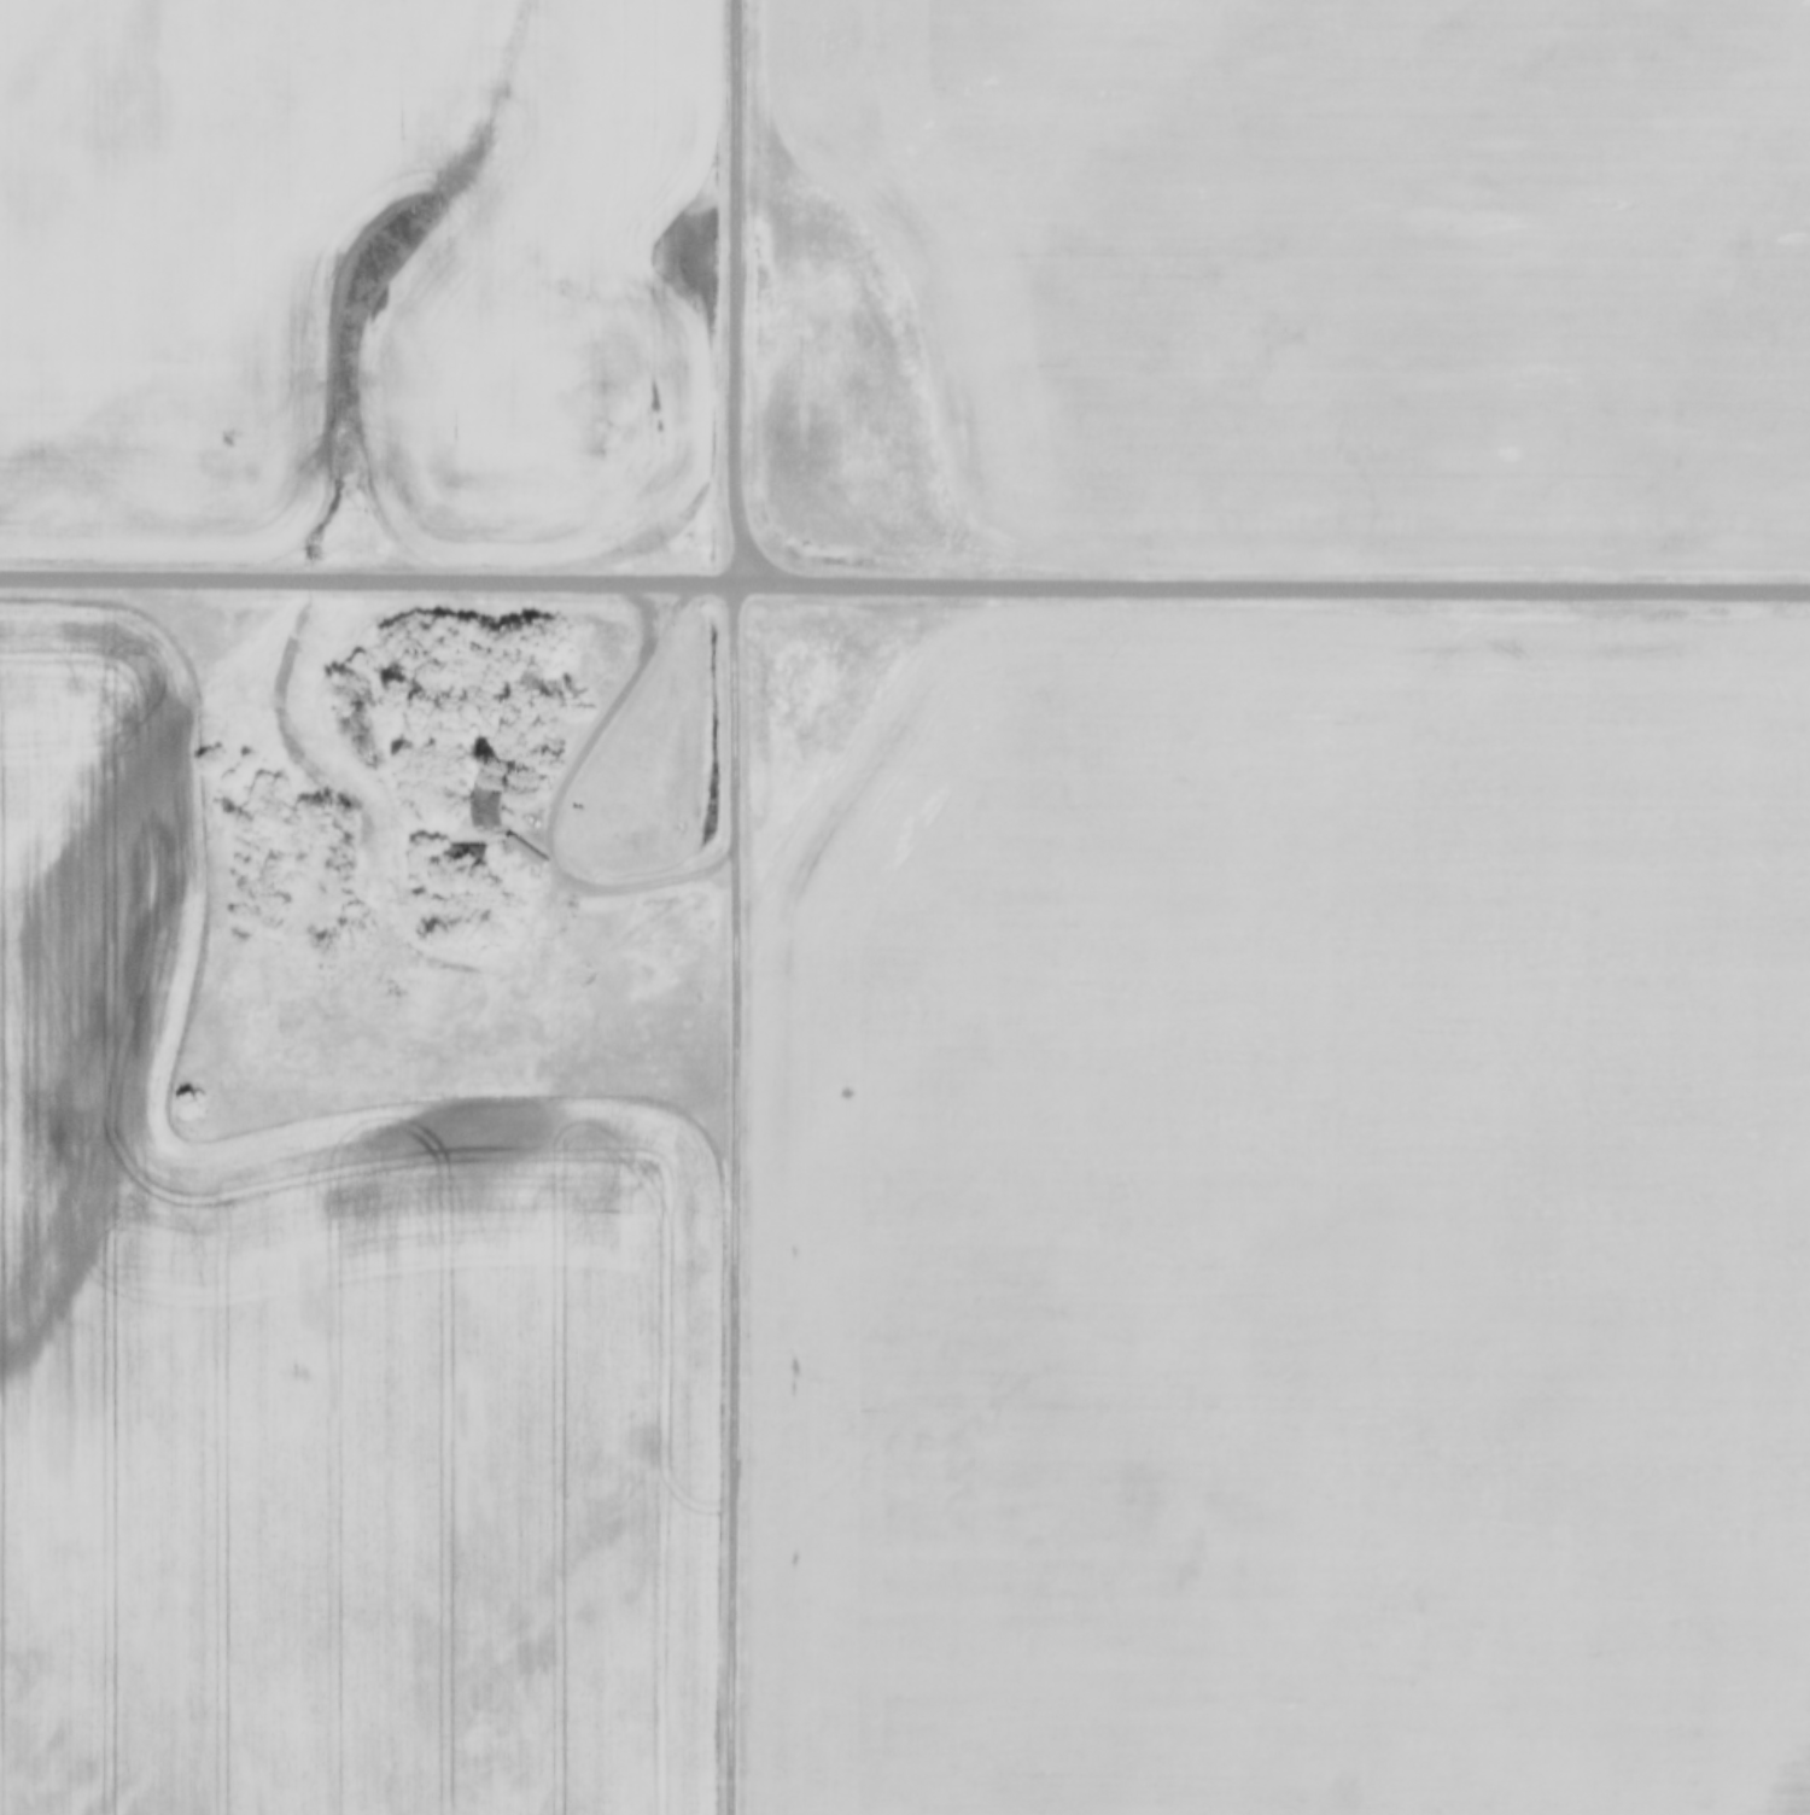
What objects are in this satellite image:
road: (741, 287)
road: (905, 577)
road: (740, 706)
building: (489, 803)
road: (559, 804)
road: (737, 1325)

